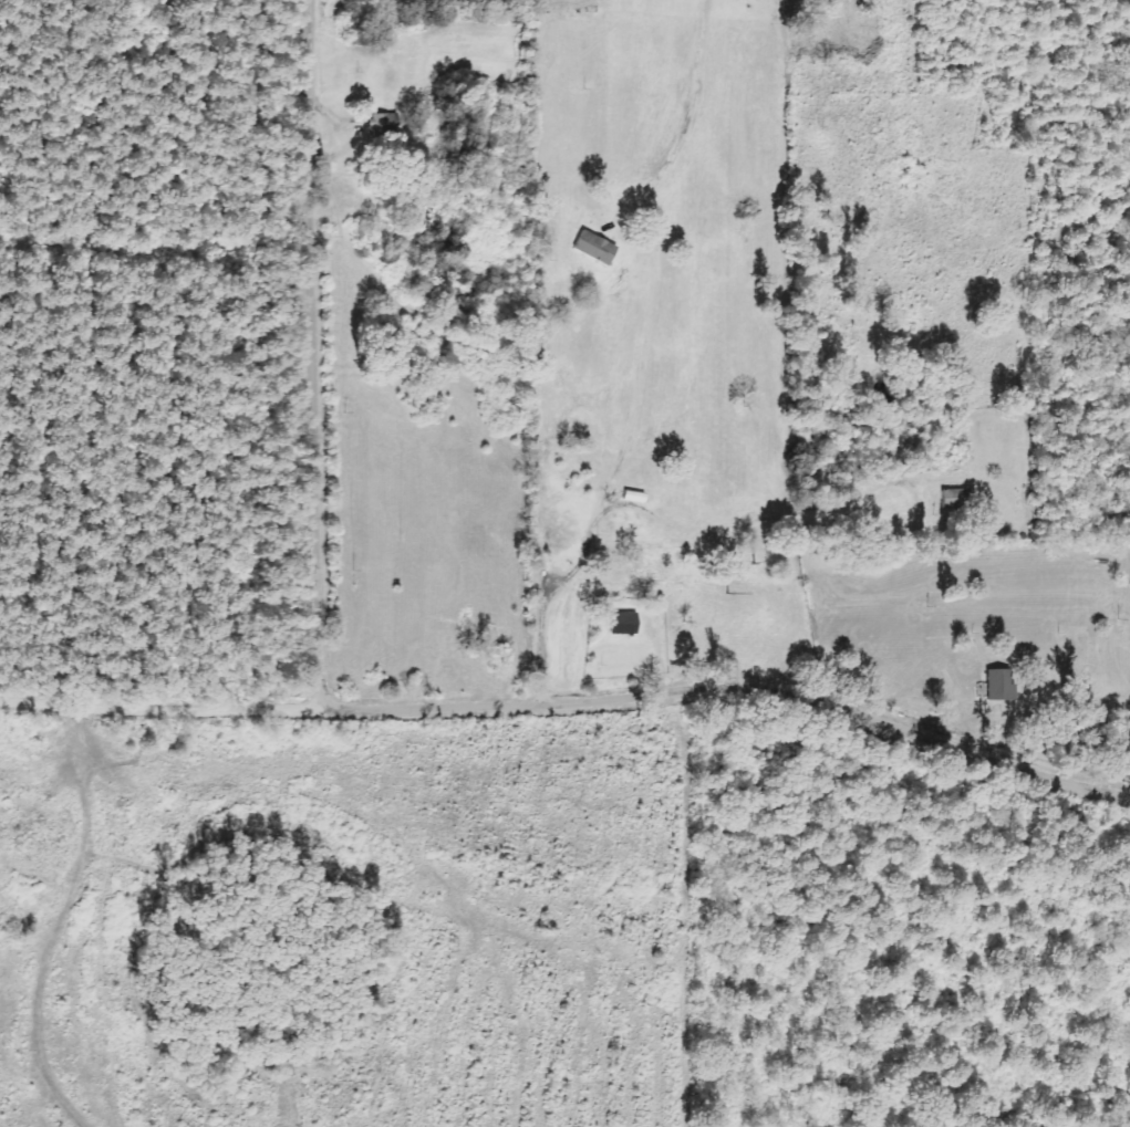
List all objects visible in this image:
building: (591, 248)
road: (315, 359)
building: (953, 499)
building: (621, 624)
road: (1025, 649)
building: (997, 685)
road: (573, 713)

